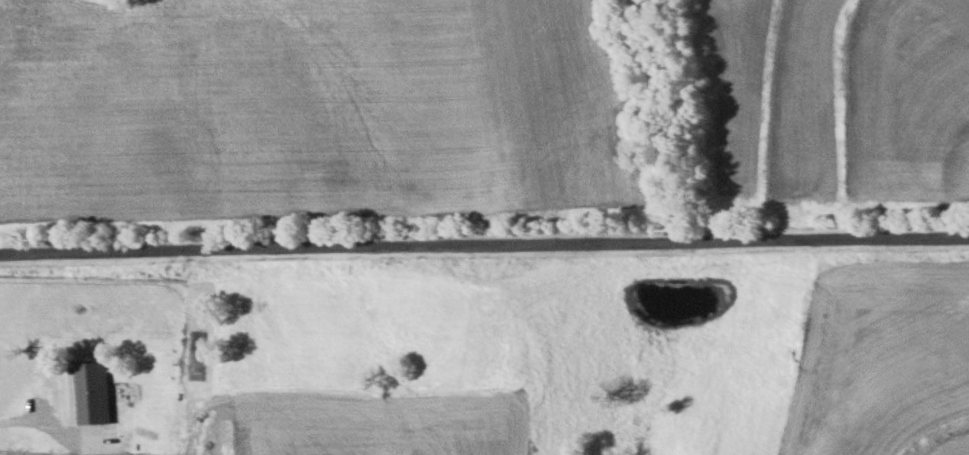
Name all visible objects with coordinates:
road: (484, 245)
building: (86, 379)
road: (46, 420)

